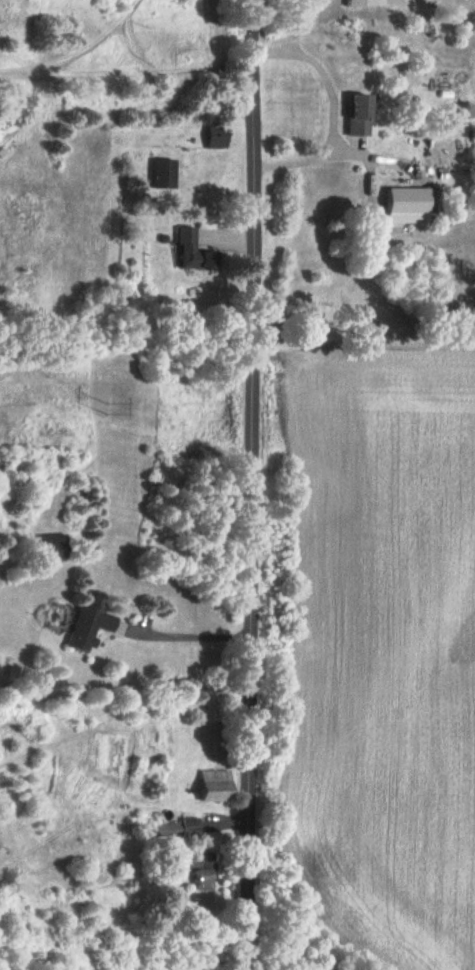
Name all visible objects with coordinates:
building: (363, 3)
road: (335, 111)
building: (353, 115)
building: (212, 135)
building: (159, 174)
building: (404, 205)
building: (187, 251)
power tower: (97, 406)
road: (254, 484)
building: (52, 547)
building: (85, 628)
road: (187, 632)
building: (214, 785)
building: (175, 828)
building: (201, 873)

